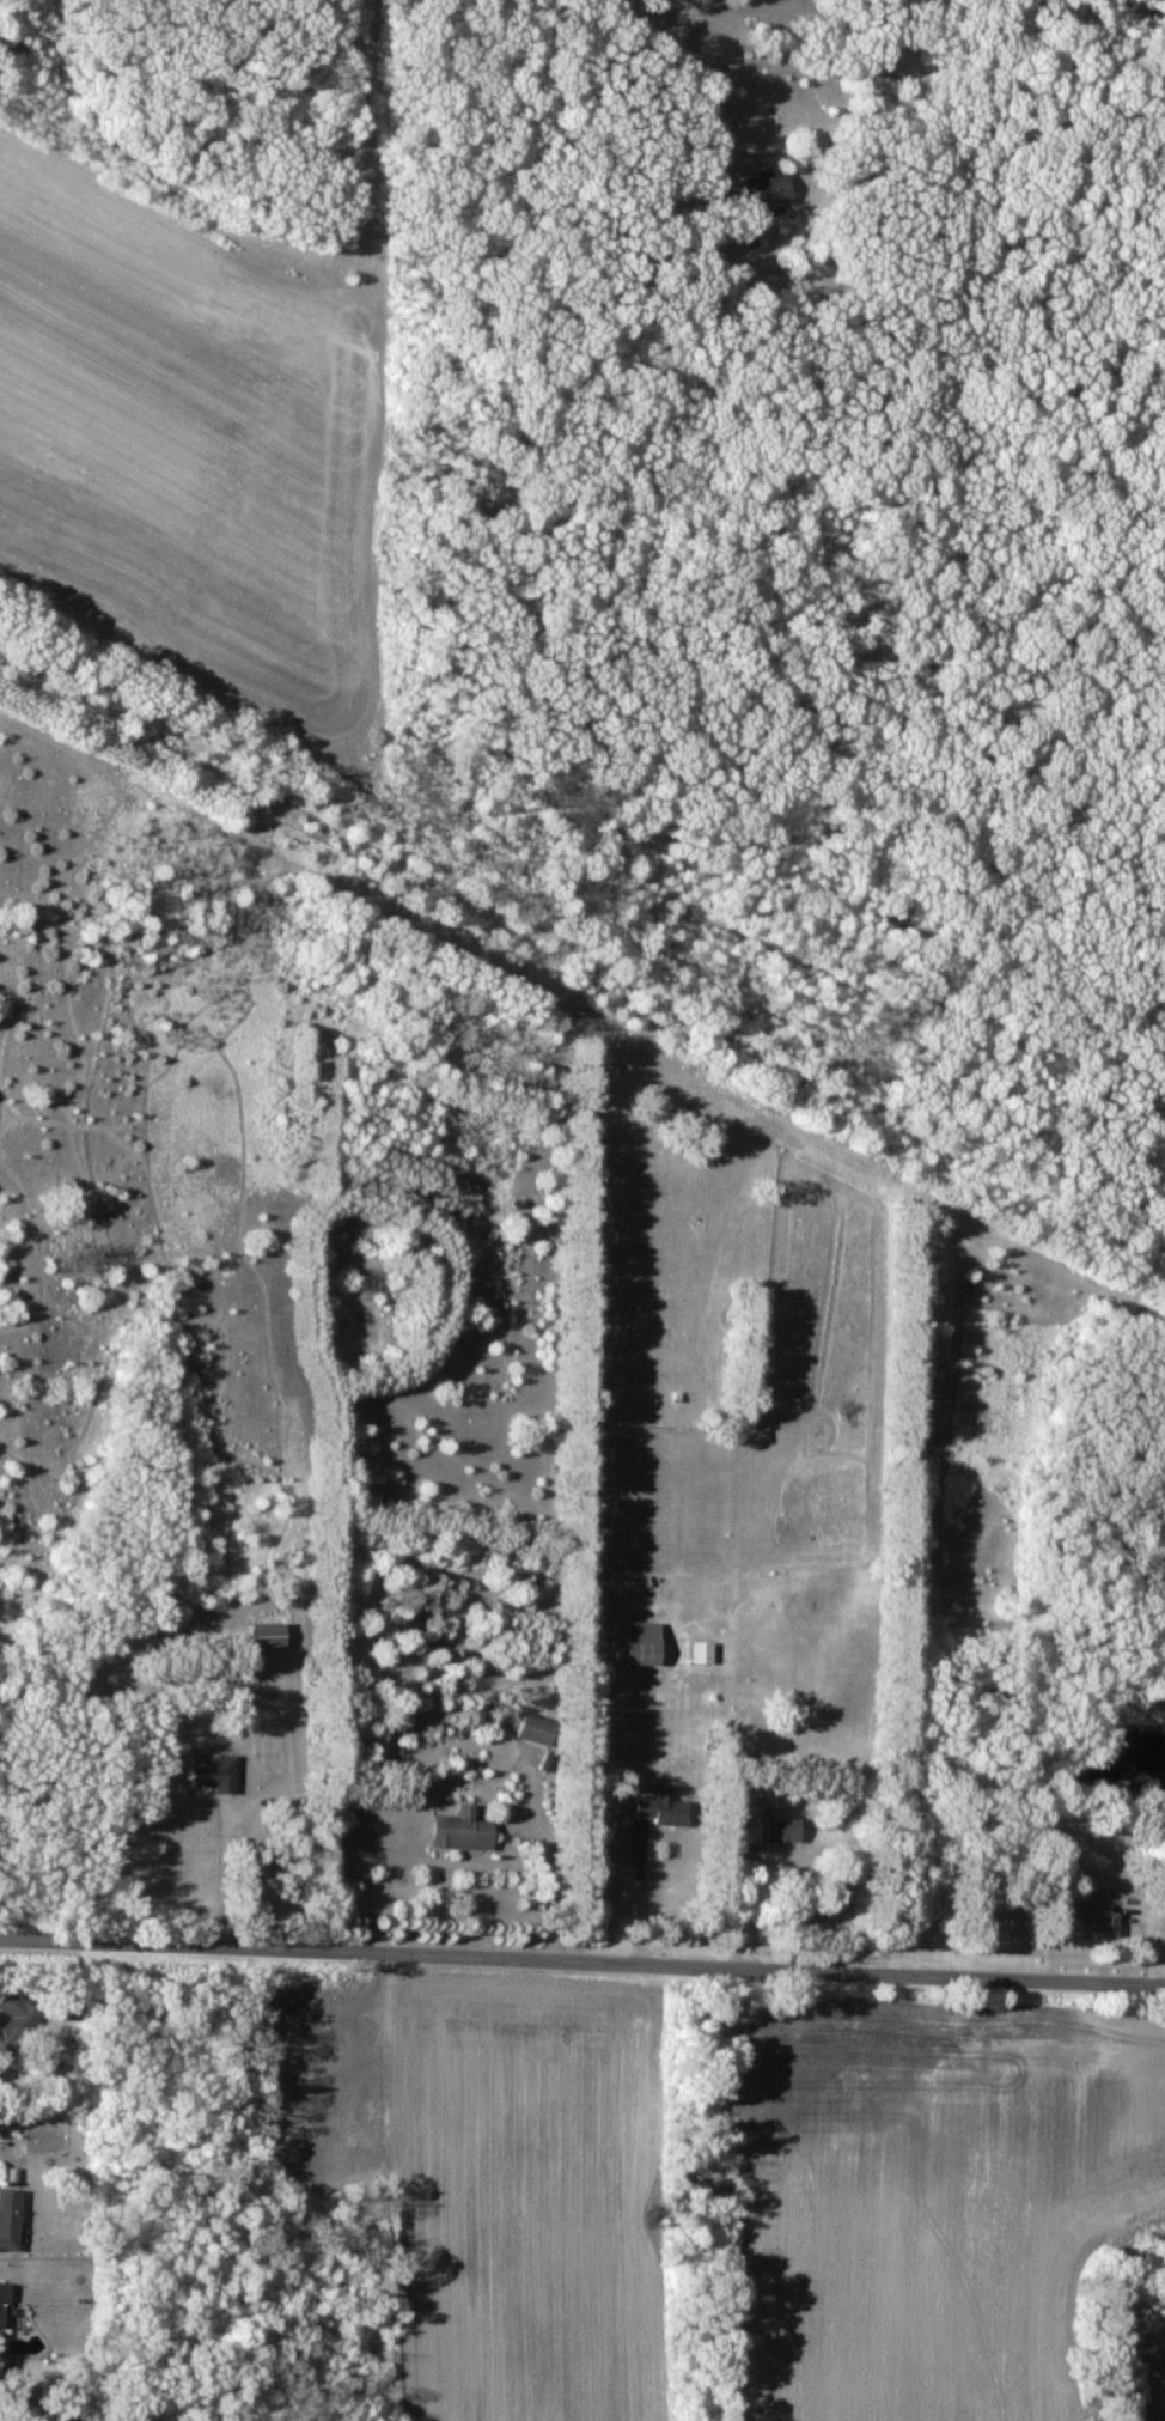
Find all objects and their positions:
building: (276, 1635)
building: (649, 1642)
building: (707, 1651)
building: (218, 1770)
building: (466, 1830)
road: (582, 1960)
building: (12, 2219)
building: (6, 2304)

